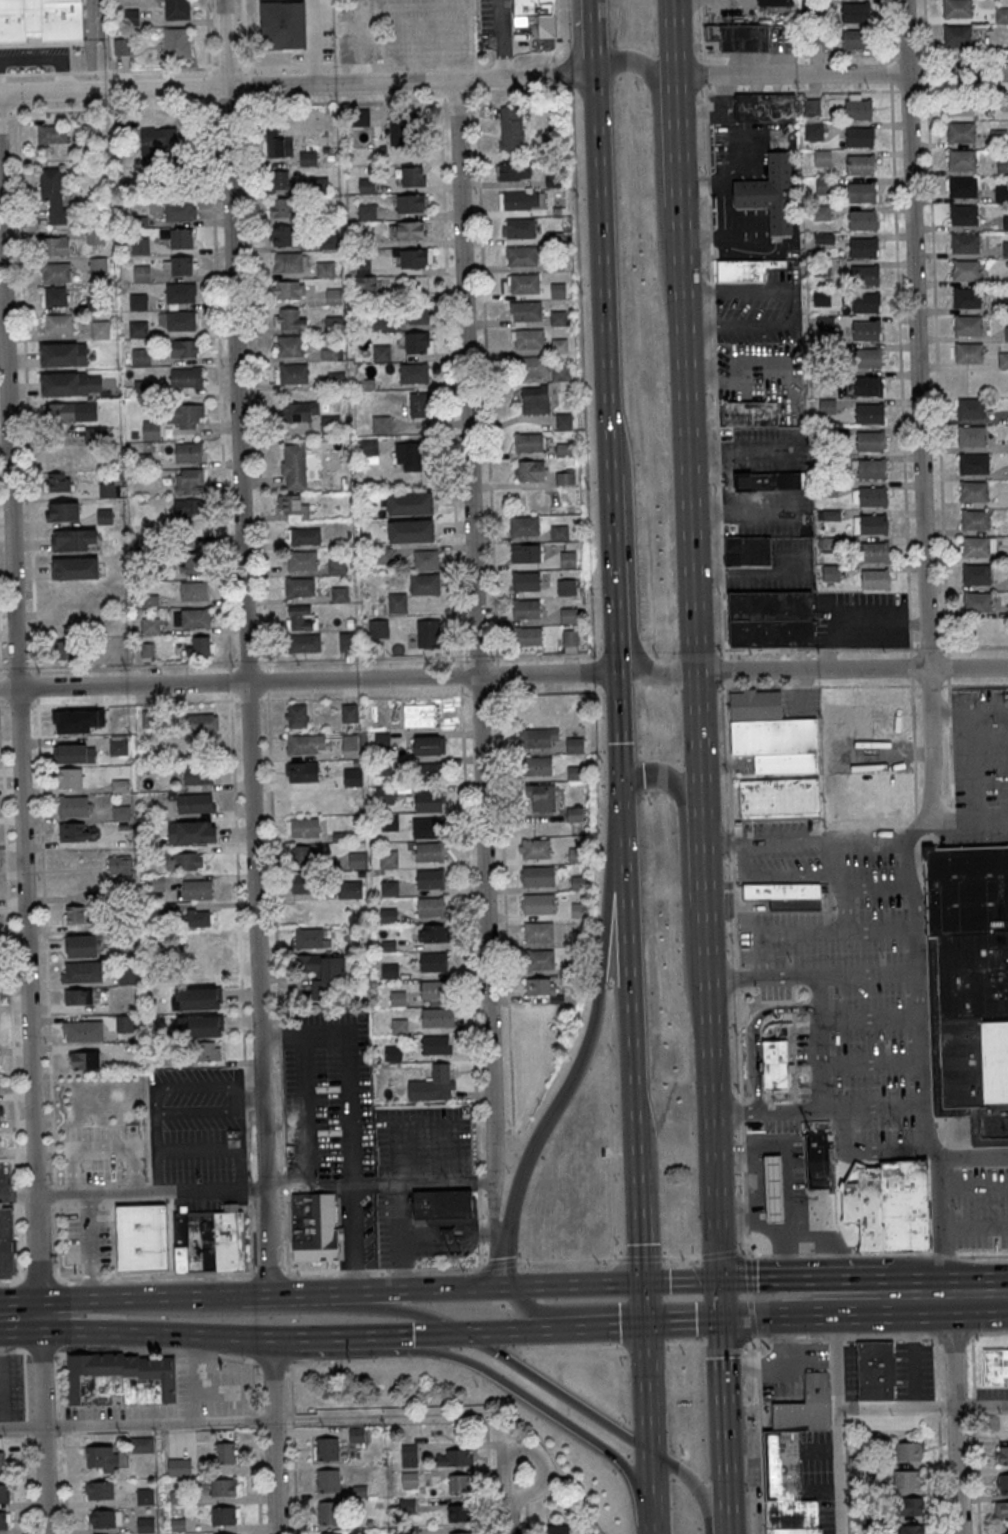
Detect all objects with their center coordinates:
building: (774, 2)
building: (958, 8)
building: (176, 9)
building: (526, 12)
building: (855, 12)
building: (1001, 15)
building: (39, 19)
road: (702, 27)
road: (889, 27)
building: (957, 35)
road: (674, 37)
building: (739, 37)
road: (540, 38)
road: (502, 39)
road: (594, 39)
building: (856, 39)
building: (177, 42)
road: (244, 43)
road: (207, 44)
building: (121, 47)
road: (907, 53)
road: (939, 53)
road: (46, 58)
road: (183, 68)
building: (958, 72)
road: (841, 73)
road: (297, 85)
road: (857, 91)
building: (1004, 102)
building: (764, 107)
building: (811, 107)
building: (960, 108)
building: (857, 109)
building: (511, 129)
building: (813, 130)
building: (961, 131)
building: (90, 132)
building: (403, 132)
building: (51, 134)
building: (998, 135)
building: (858, 137)
building: (159, 139)
building: (278, 144)
building: (822, 157)
building: (308, 158)
road: (441, 158)
building: (962, 159)
road: (658, 162)
building: (859, 164)
building: (1002, 166)
building: (513, 171)
building: (410, 176)
building: (280, 179)
building: (319, 184)
building: (366, 185)
building: (825, 185)
building: (963, 186)
building: (860, 192)
building: (53, 193)
building: (770, 193)
building: (1001, 193)
building: (522, 200)
building: (411, 203)
building: (282, 207)
building: (179, 210)
building: (366, 211)
building: (964, 214)
building: (861, 220)
building: (1005, 222)
building: (519, 227)
building: (410, 230)
building: (282, 235)
building: (95, 237)
building: (183, 238)
building: (328, 240)
building: (965, 243)
building: (55, 246)
building: (139, 246)
building: (862, 247)
building: (1005, 248)
building: (521, 255)
building: (414, 258)
building: (288, 262)
building: (362, 262)
building: (98, 265)
building: (178, 265)
building: (325, 268)
building: (741, 270)
building: (966, 270)
building: (55, 273)
building: (141, 273)
building: (863, 275)
building: (523, 283)
building: (368, 287)
road: (676, 289)
building: (288, 290)
building: (558, 290)
building: (180, 292)
building: (334, 296)
building: (54, 297)
building: (967, 297)
building: (137, 301)
building: (864, 302)
road: (792, 304)
building: (1005, 304)
building: (526, 311)
building: (420, 315)
building: (558, 317)
building: (290, 318)
building: (181, 320)
building: (380, 323)
building: (57, 325)
building: (968, 325)
building: (137, 328)
building: (100, 329)
building: (865, 330)
building: (1006, 333)
building: (527, 339)
building: (417, 343)
building: (288, 345)
building: (559, 345)
building: (183, 348)
building: (968, 352)
building: (381, 353)
building: (63, 354)
building: (140, 356)
road: (485, 356)
building: (866, 358)
building: (1003, 359)
building: (560, 371)
building: (291, 373)
building: (413, 373)
road: (735, 373)
building: (186, 377)
building: (71, 384)
building: (867, 386)
building: (141, 387)
road: (219, 394)
building: (535, 399)
building: (419, 404)
building: (827, 406)
road: (918, 407)
building: (971, 408)
building: (71, 411)
building: (299, 411)
building: (749, 413)
building: (869, 413)
building: (185, 415)
building: (564, 421)
building: (330, 424)
building: (381, 424)
building: (151, 430)
road: (939, 433)
building: (95, 434)
building: (971, 435)
building: (869, 440)
building: (529, 442)
building: (563, 449)
building: (370, 451)
building: (188, 452)
building: (407, 456)
building: (111, 458)
building: (143, 460)
building: (973, 463)
building: (294, 466)
building: (870, 468)
building: (531, 470)
building: (565, 476)
building: (189, 481)
building: (772, 481)
building: (57, 482)
building: (828, 488)
building: (108, 489)
building: (974, 490)
building: (871, 496)
building: (410, 503)
building: (292, 506)
building: (188, 509)
road: (740, 510)
building: (77, 512)
building: (975, 519)
building: (872, 524)
building: (524, 527)
building: (411, 530)
building: (559, 533)
building: (303, 535)
building: (73, 539)
building: (975, 546)
building: (747, 550)
building: (873, 552)
building: (525, 554)
building: (383, 555)
building: (568, 559)
building: (425, 560)
building: (302, 562)
road: (629, 563)
building: (191, 564)
building: (336, 566)
building: (77, 568)
building: (831, 573)
building: (976, 574)
building: (873, 579)
building: (526, 582)
building: (424, 584)
building: (300, 586)
building: (566, 587)
building: (194, 590)
building: (340, 594)
building: (976, 601)
building: (397, 603)
building: (527, 609)
road: (615, 610)
road: (723, 611)
building: (568, 615)
building: (300, 617)
building: (191, 618)
building: (770, 618)
road: (475, 622)
building: (150, 626)
building: (378, 628)
building: (428, 633)
building: (529, 635)
building: (569, 637)
building: (346, 641)
building: (304, 643)
building: (200, 645)
road: (247, 647)
building: (147, 649)
building: (67, 650)
road: (544, 654)
road: (495, 656)
road: (248, 662)
road: (854, 669)
road: (701, 678)
road: (266, 680)
road: (309, 680)
road: (867, 685)
road: (1, 691)
road: (544, 691)
road: (37, 693)
road: (116, 702)
building: (349, 712)
building: (296, 715)
building: (74, 722)
building: (202, 722)
building: (772, 734)
building: (538, 737)
road: (913, 737)
building: (382, 740)
road: (19, 744)
building: (306, 744)
building: (429, 745)
building: (574, 745)
building: (350, 746)
building: (76, 753)
building: (537, 766)
building: (427, 771)
building: (302, 772)
building: (199, 774)
building: (70, 777)
building: (353, 777)
traffic signals: (627, 781)
road: (464, 784)
building: (120, 785)
building: (384, 794)
building: (779, 797)
building: (541, 798)
building: (430, 801)
building: (196, 803)
building: (75, 805)
building: (121, 812)
road: (731, 812)
road: (970, 814)
building: (389, 823)
building: (302, 826)
building: (426, 828)
building: (73, 831)
building: (192, 832)
road: (697, 837)
road: (724, 837)
road: (782, 838)
road: (866, 838)
building: (534, 849)
building: (429, 851)
building: (300, 855)
road: (834, 857)
building: (388, 859)
building: (358, 860)
building: (184, 861)
building: (120, 864)
road: (689, 870)
building: (539, 876)
road: (773, 876)
building: (430, 879)
building: (156, 883)
building: (302, 883)
building: (389, 887)
building: (197, 889)
building: (350, 889)
building: (786, 895)
road: (503, 898)
road: (842, 902)
building: (538, 903)
building: (430, 906)
building: (75, 914)
building: (388, 915)
building: (199, 918)
building: (538, 931)
building: (433, 933)
building: (313, 937)
road: (765, 943)
building: (82, 945)
road: (605, 946)
building: (198, 952)
building: (539, 959)
building: (433, 962)
building: (81, 971)
building: (326, 974)
building: (127, 976)
road: (737, 983)
building: (969, 985)
building: (541, 986)
building: (433, 990)
building: (570, 992)
building: (84, 996)
building: (199, 998)
road: (11, 1001)
building: (438, 1017)
road: (822, 1017)
building: (125, 1024)
building: (200, 1025)
building: (399, 1026)
building: (82, 1030)
building: (435, 1044)
road: (739, 1045)
building: (207, 1051)
building: (393, 1053)
road: (921, 1057)
building: (84, 1060)
road: (349, 1065)
building: (775, 1066)
building: (433, 1084)
building: (1, 1112)
road: (742, 1112)
parking lot: (196, 1124)
road: (742, 1132)
road: (743, 1152)
road: (527, 1153)
road: (974, 1158)
building: (817, 1161)
building: (767, 1179)
road: (744, 1182)
road: (248, 1187)
building: (774, 1190)
road: (611, 1191)
road: (941, 1196)
building: (444, 1205)
building: (888, 1206)
road: (497, 1207)
road: (642, 1212)
road: (746, 1217)
building: (314, 1227)
building: (806, 1229)
building: (142, 1237)
building: (449, 1239)
building: (209, 1240)
building: (6, 1242)
road: (747, 1245)
road: (250, 1250)
road: (743, 1251)
road: (719, 1253)
road: (878, 1253)
road: (680, 1257)
road: (639, 1258)
road: (498, 1269)
road: (135, 1275)
road: (748, 1275)
traffic signals: (643, 1283)
road: (683, 1283)
traffic signals: (724, 1283)
road: (570, 1284)
road: (840, 1290)
road: (383, 1292)
road: (750, 1295)
road: (982, 1298)
road: (157, 1299)
road: (725, 1302)
road: (644, 1305)
road: (841, 1310)
road: (529, 1311)
road: (405, 1314)
road: (19, 1317)
road: (43, 1317)
road: (753, 1318)
traffic signals: (727, 1321)
road: (686, 1324)
traffic signals: (645, 1328)
road: (604, 1329)
road: (159, 1331)
road: (512, 1333)
road: (285, 1336)
road: (324, 1336)
road: (405, 1336)
traffic signals: (461, 1336)
road: (882, 1338)
road: (757, 1346)
road: (775, 1361)
building: (995, 1365)
road: (758, 1366)
building: (874, 1369)
parking lot: (850, 1370)
parking lot: (913, 1370)
road: (40, 1372)
road: (646, 1389)
road: (554, 1391)
parking lot: (991, 1393)
road: (528, 1398)
road: (923, 1406)
building: (804, 1407)
road: (450, 1413)
road: (958, 1416)
road: (838, 1422)
road: (158, 1423)
building: (1002, 1426)
road: (20, 1427)
road: (728, 1427)
road: (256, 1429)
road: (26, 1430)
building: (357, 1434)
road: (975, 1434)
road: (275, 1435)
road: (938, 1435)
building: (142, 1445)
building: (325, 1448)
road: (294, 1450)
building: (908, 1451)
building: (225, 1453)
building: (409, 1455)
road: (761, 1455)
building: (1001, 1455)
building: (100, 1457)
building: (454, 1457)
building: (2, 1463)
building: (782, 1465)
road: (752, 1476)
building: (409, 1479)
building: (907, 1479)
road: (44, 1480)
building: (327, 1480)
parking lot: (753, 1482)
building: (1001, 1482)
building: (459, 1484)
road: (690, 1485)
building: (223, 1487)
building: (99, 1490)
road: (648, 1492)
building: (4, 1493)
road: (524, 1495)
building: (145, 1496)
road: (525, 1499)
road: (662, 1500)
building: (910, 1506)
building: (1001, 1510)
road: (509, 1512)
building: (328, 1513)
building: (458, 1513)
building: (224, 1515)
parking lot: (825, 1516)
building: (792, 1517)
building: (104, 1518)
road: (526, 1518)
building: (3, 1521)
building: (145, 1525)
building: (557, 1529)
building: (911, 1529)
building: (1005, 1532)
building: (225, 1533)
building: (330, 1533)
building: (460, 1533)

